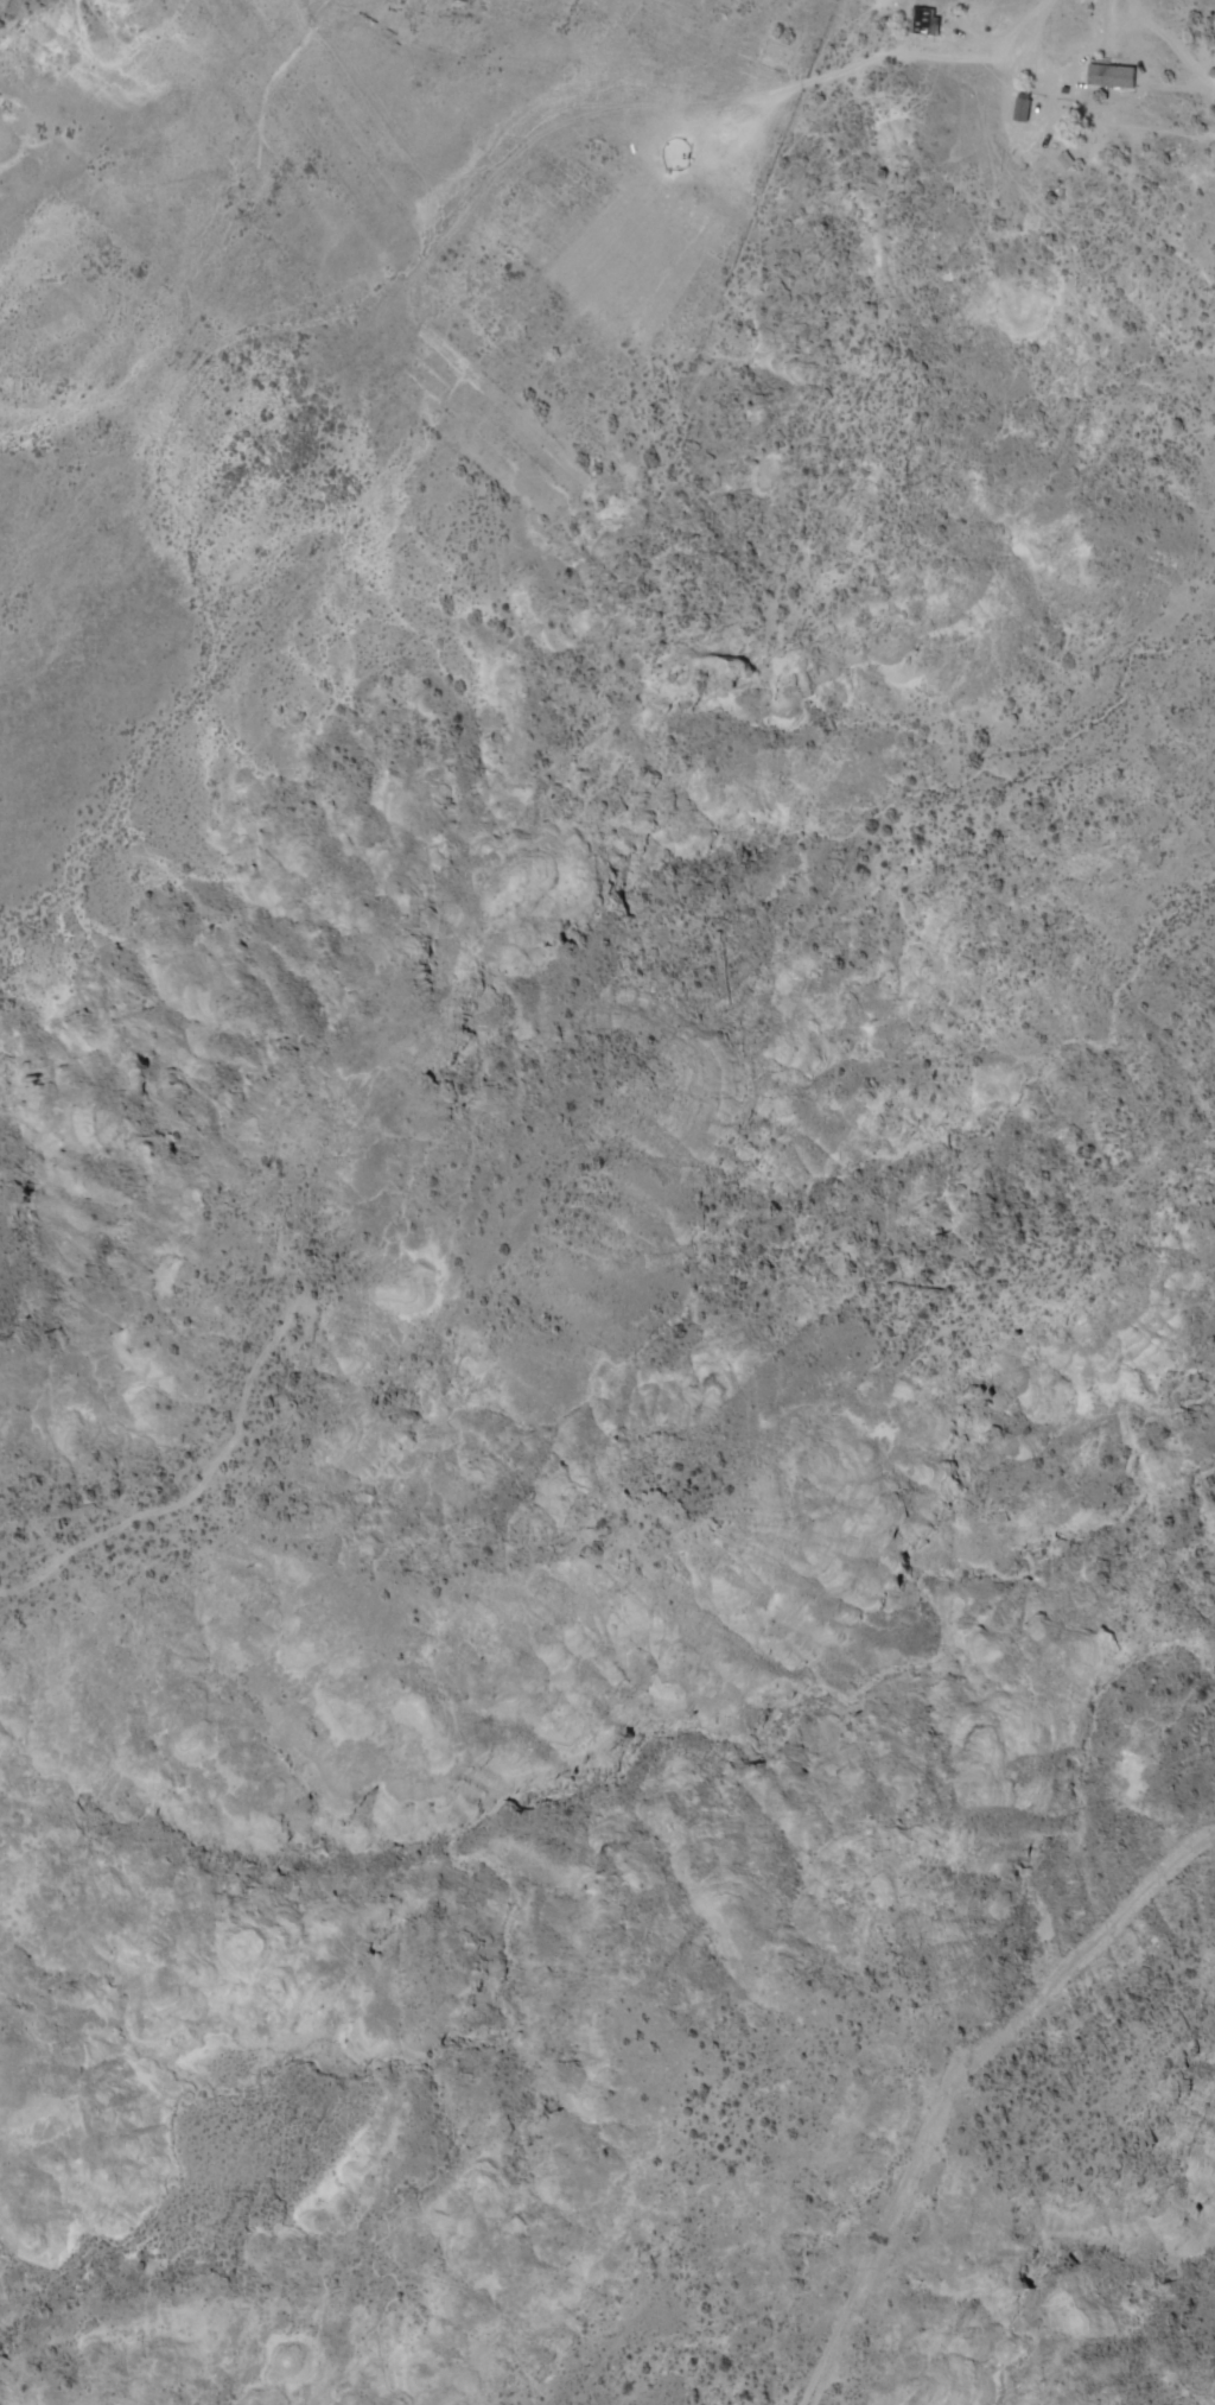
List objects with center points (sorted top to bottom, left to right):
building: (924, 21)
road: (1041, 42)
building: (1111, 76)
road: (490, 179)
road: (783, 1245)
road: (953, 2074)

